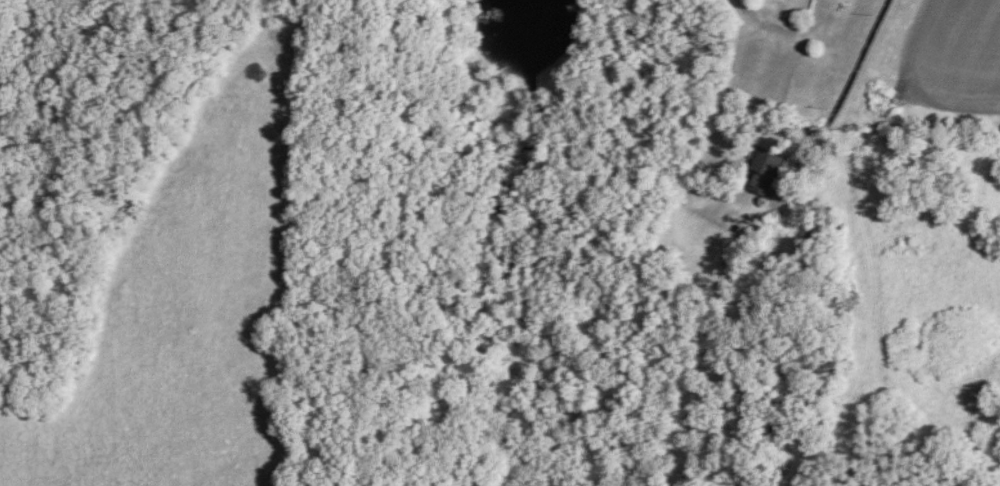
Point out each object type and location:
road: (835, 107)
building: (765, 172)

